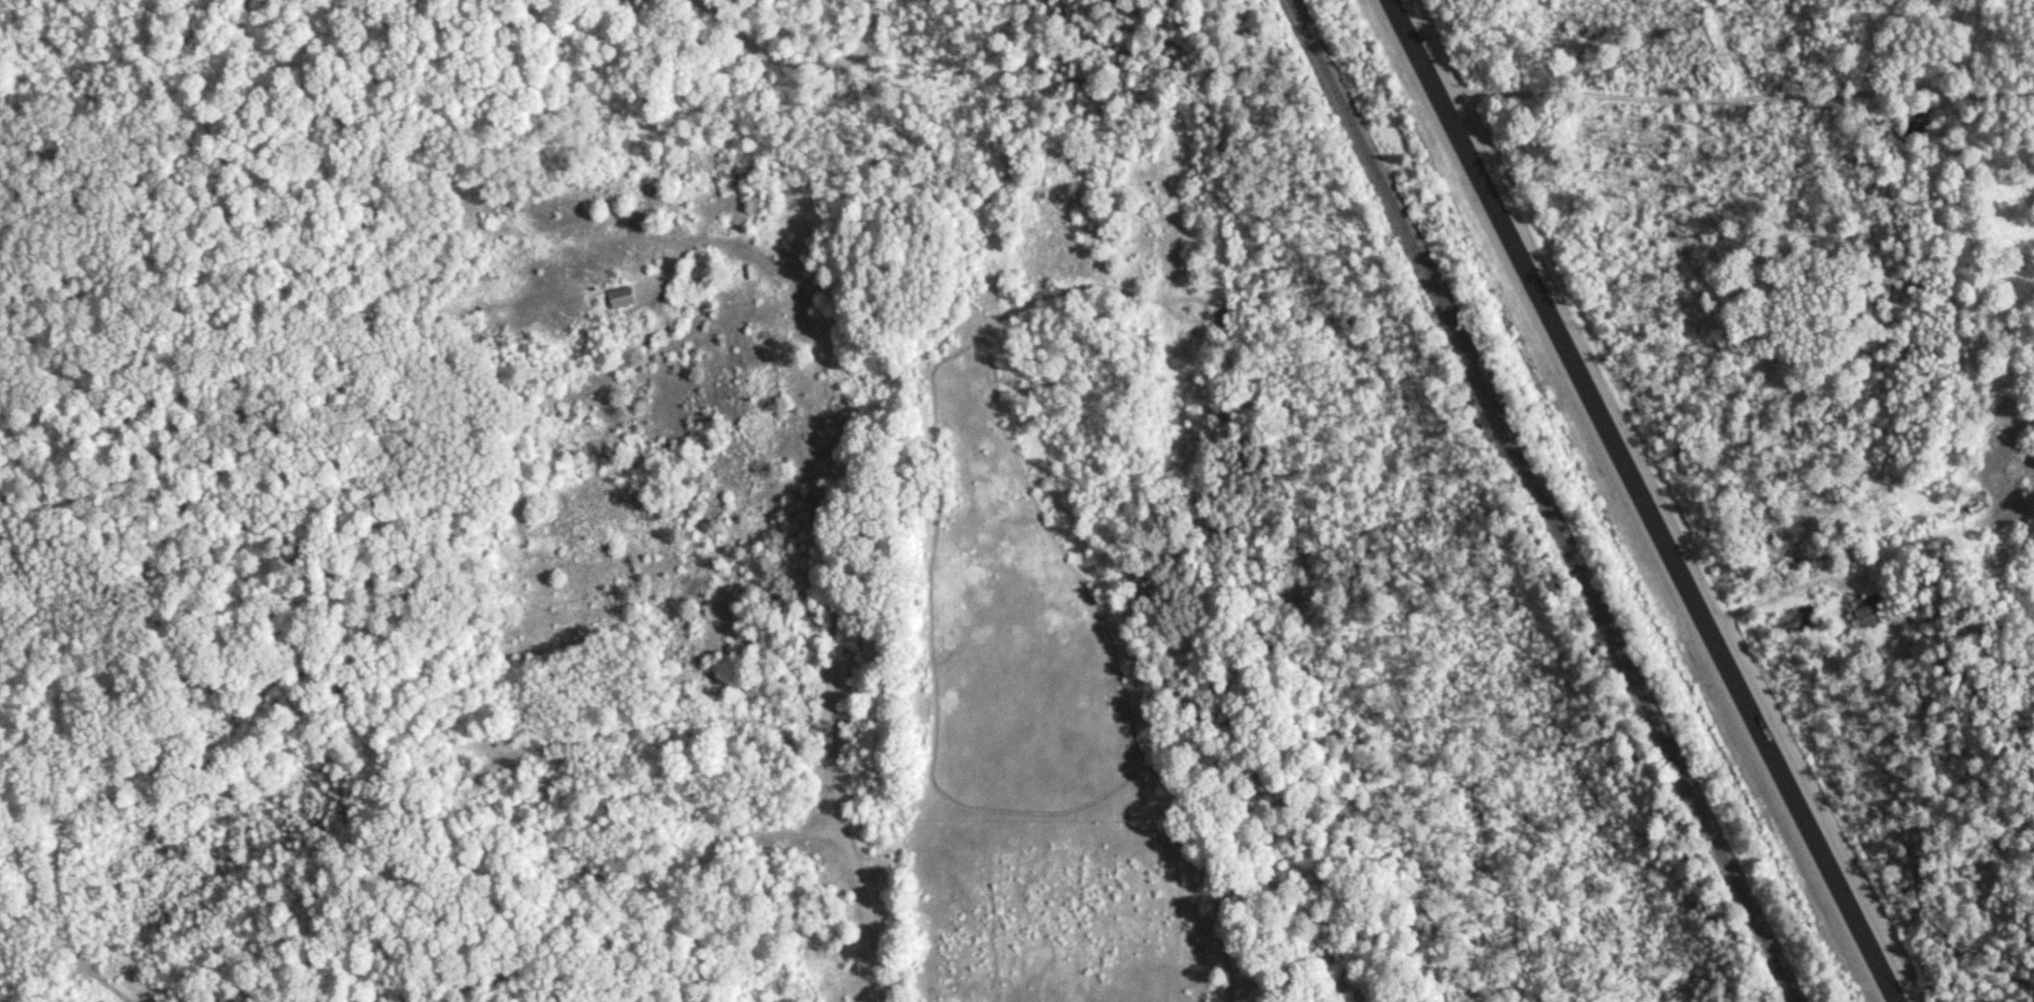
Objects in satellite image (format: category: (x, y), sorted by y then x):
road: (1980, 77)
building: (620, 296)
railway: (1537, 501)
road: (1643, 501)
building: (1864, 608)
road: (303, 765)
road: (849, 841)

